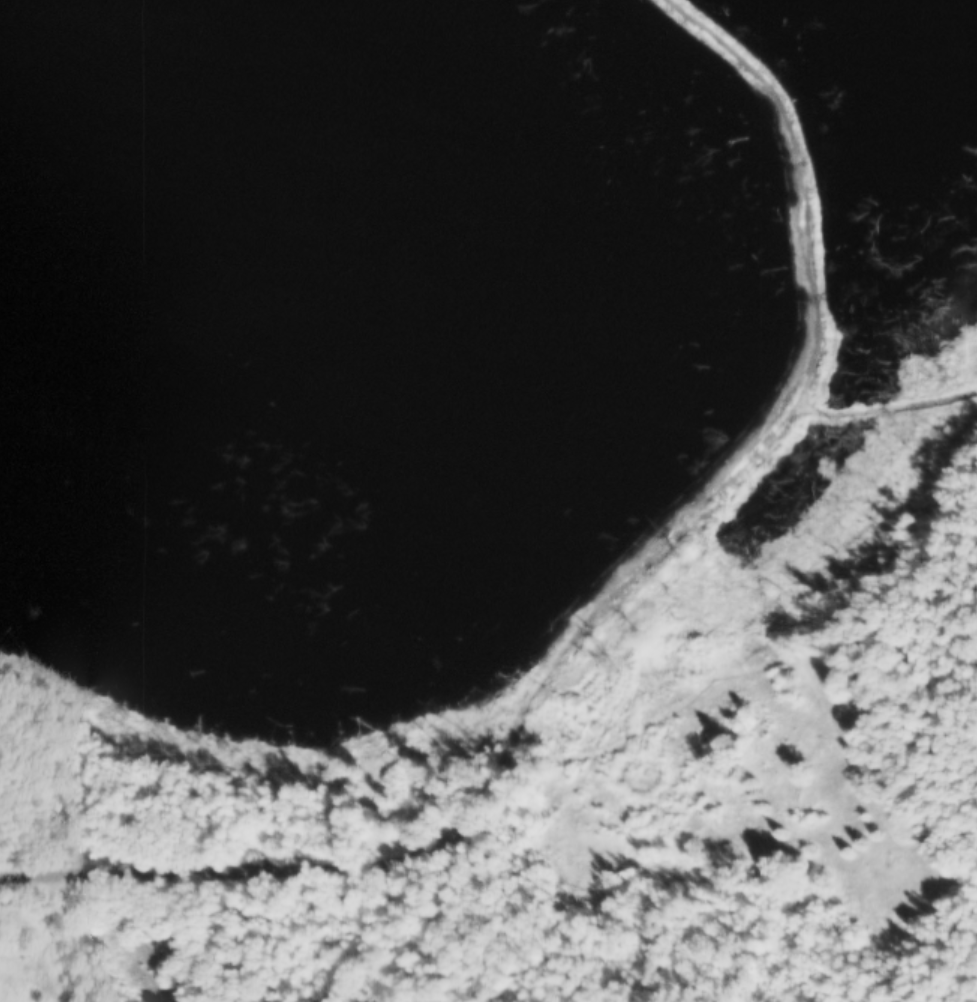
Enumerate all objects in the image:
road: (881, 282)
road: (793, 382)
road: (882, 399)
road: (296, 864)

